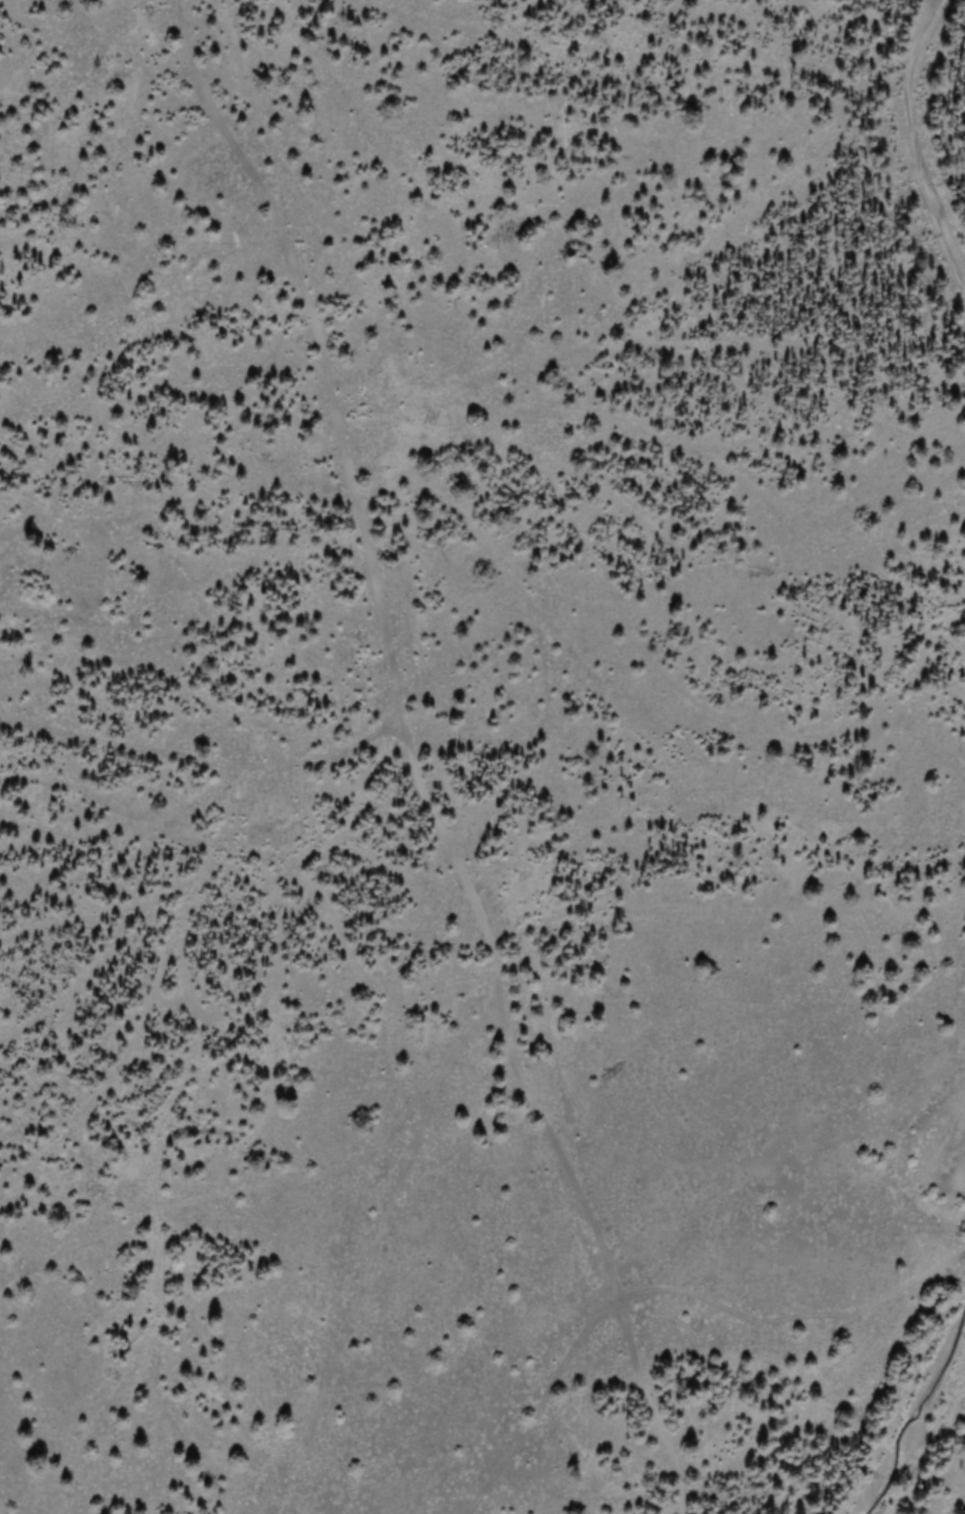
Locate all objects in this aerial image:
road: (470, 743)

